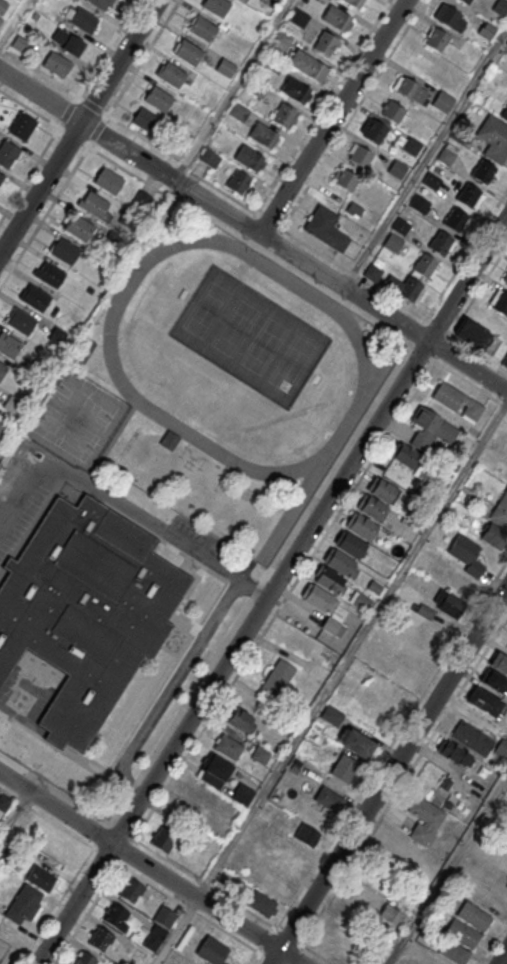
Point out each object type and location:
building: (464, 2)
building: (354, 3)
building: (99, 4)
building: (2, 5)
building: (500, 6)
building: (216, 7)
building: (298, 17)
building: (0, 18)
building: (449, 18)
building: (336, 19)
building: (83, 21)
building: (487, 29)
building: (203, 30)
building: (437, 39)
building: (67, 42)
building: (325, 42)
building: (506, 42)
building: (20, 43)
road: (107, 48)
building: (188, 54)
road: (143, 57)
building: (56, 65)
building: (226, 67)
building: (308, 67)
building: (172, 76)
building: (256, 87)
building: (408, 89)
building: (295, 90)
building: (159, 100)
building: (442, 102)
road: (322, 106)
building: (238, 111)
building: (393, 112)
building: (504, 114)
building: (283, 116)
road: (332, 116)
building: (146, 121)
building: (21, 125)
road: (78, 126)
building: (373, 129)
building: (263, 136)
building: (494, 139)
building: (411, 146)
building: (8, 154)
building: (445, 156)
building: (209, 157)
building: (360, 157)
road: (425, 157)
building: (248, 159)
building: (396, 168)
building: (483, 172)
road: (29, 173)
building: (1, 178)
building: (431, 179)
building: (238, 181)
building: (346, 181)
building: (108, 182)
building: (468, 196)
road: (54, 201)
building: (142, 201)
building: (417, 203)
building: (95, 207)
building: (353, 209)
road: (264, 219)
building: (454, 220)
building: (400, 225)
building: (79, 228)
road: (253, 230)
building: (326, 230)
building: (392, 242)
building: (440, 244)
building: (64, 252)
road: (466, 253)
building: (423, 266)
building: (372, 272)
building: (50, 275)
building: (504, 278)
building: (409, 289)
building: (34, 299)
building: (499, 302)
road: (460, 319)
building: (20, 322)
building: (57, 336)
building: (476, 336)
park: (250, 338)
building: (8, 346)
building: (83, 353)
building: (504, 360)
building: (2, 370)
road: (470, 384)
building: (457, 401)
building: (12, 404)
building: (3, 429)
building: (430, 429)
building: (169, 441)
building: (405, 455)
building: (382, 491)
road: (123, 504)
building: (371, 508)
building: (500, 512)
building: (360, 527)
building: (493, 537)
building: (349, 545)
building: (466, 555)
building: (341, 563)
road: (271, 589)
building: (316, 598)
road: (284, 600)
building: (360, 602)
building: (448, 603)
building: (86, 611)
building: (425, 611)
building: (500, 662)
building: (277, 678)
building: (494, 681)
road: (331, 683)
road: (167, 691)
building: (483, 703)
building: (240, 719)
building: (472, 738)
building: (356, 743)
road: (391, 744)
building: (227, 747)
building: (502, 748)
building: (454, 752)
building: (259, 755)
building: (344, 768)
building: (214, 770)
road: (389, 775)
road: (404, 780)
building: (243, 793)
building: (329, 799)
building: (3, 803)
road: (14, 814)
building: (424, 817)
road: (46, 818)
building: (166, 833)
building: (307, 834)
building: (394, 852)
road: (447, 867)
road: (151, 868)
building: (41, 880)
building: (130, 891)
building: (262, 904)
building: (24, 906)
road: (56, 906)
building: (388, 913)
building: (116, 917)
building: (473, 917)
building: (158, 929)
road: (277, 930)
building: (462, 935)
building: (101, 940)
road: (494, 943)
building: (213, 951)
building: (453, 953)
road: (502, 956)
building: (85, 959)
road: (257, 959)

